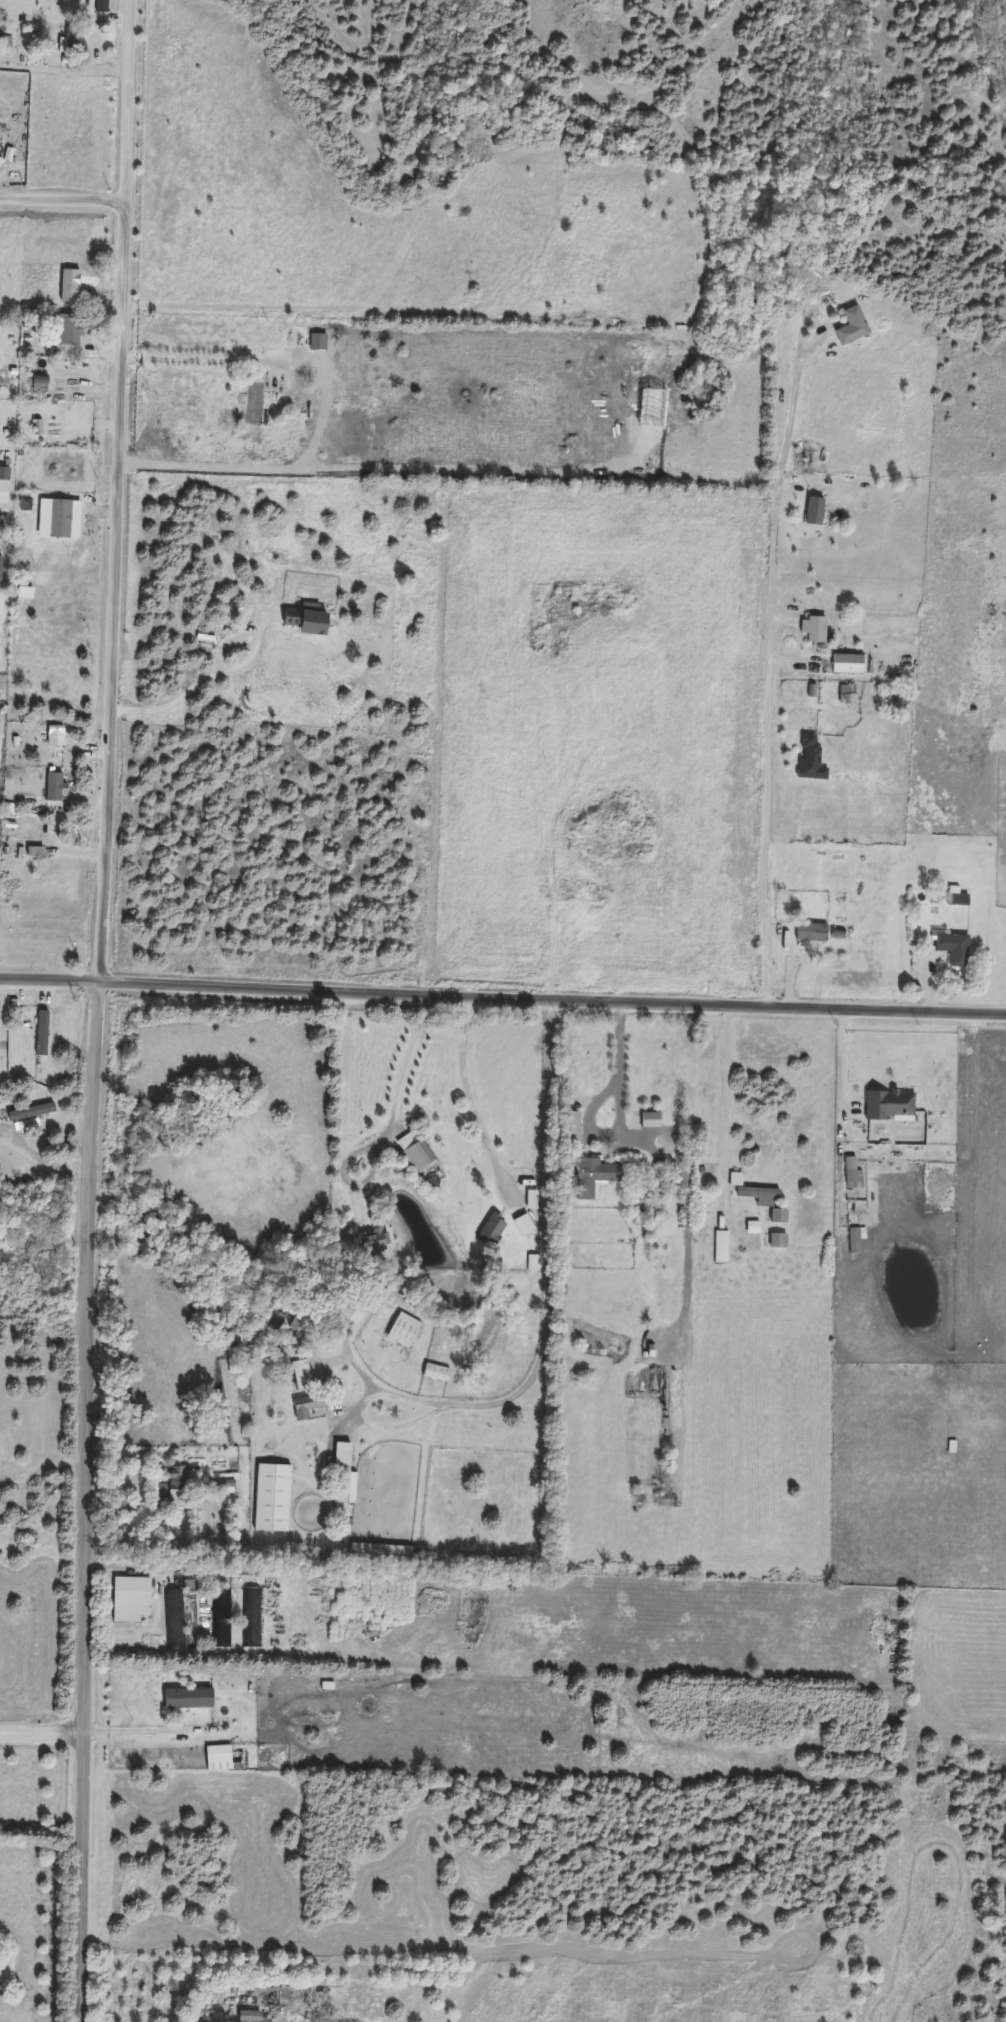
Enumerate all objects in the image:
building: (72, 40)
road: (63, 199)
building: (849, 325)
building: (66, 329)
building: (315, 341)
road: (194, 359)
building: (262, 398)
building: (3, 485)
building: (811, 510)
road: (215, 568)
building: (813, 630)
road: (775, 643)
building: (845, 664)
road: (213, 671)
building: (52, 729)
building: (807, 758)
building: (51, 787)
building: (808, 932)
building: (951, 947)
road: (50, 979)
road: (553, 996)
road: (99, 1010)
road: (409, 1066)
road: (470, 1097)
building: (886, 1106)
road: (839, 1109)
building: (28, 1112)
road: (725, 1116)
building: (648, 1121)
building: (568, 1127)
building: (411, 1150)
road: (671, 1150)
building: (592, 1177)
building: (776, 1216)
building: (521, 1225)
building: (490, 1229)
building: (775, 1240)
building: (853, 1240)
building: (371, 1241)
building: (718, 1246)
building: (351, 1310)
building: (273, 1321)
building: (401, 1330)
road: (545, 1332)
building: (234, 1347)
building: (433, 1372)
building: (298, 1374)
building: (341, 1471)
building: (221, 1483)
building: (170, 1487)
building: (269, 1497)
building: (377, 1555)
building: (129, 1600)
building: (203, 1616)
building: (221, 1617)
building: (251, 1617)
building: (173, 1619)
building: (193, 1708)
road: (43, 1729)
road: (144, 1729)
building: (213, 1758)
road: (209, 2011)
building: (246, 2016)

